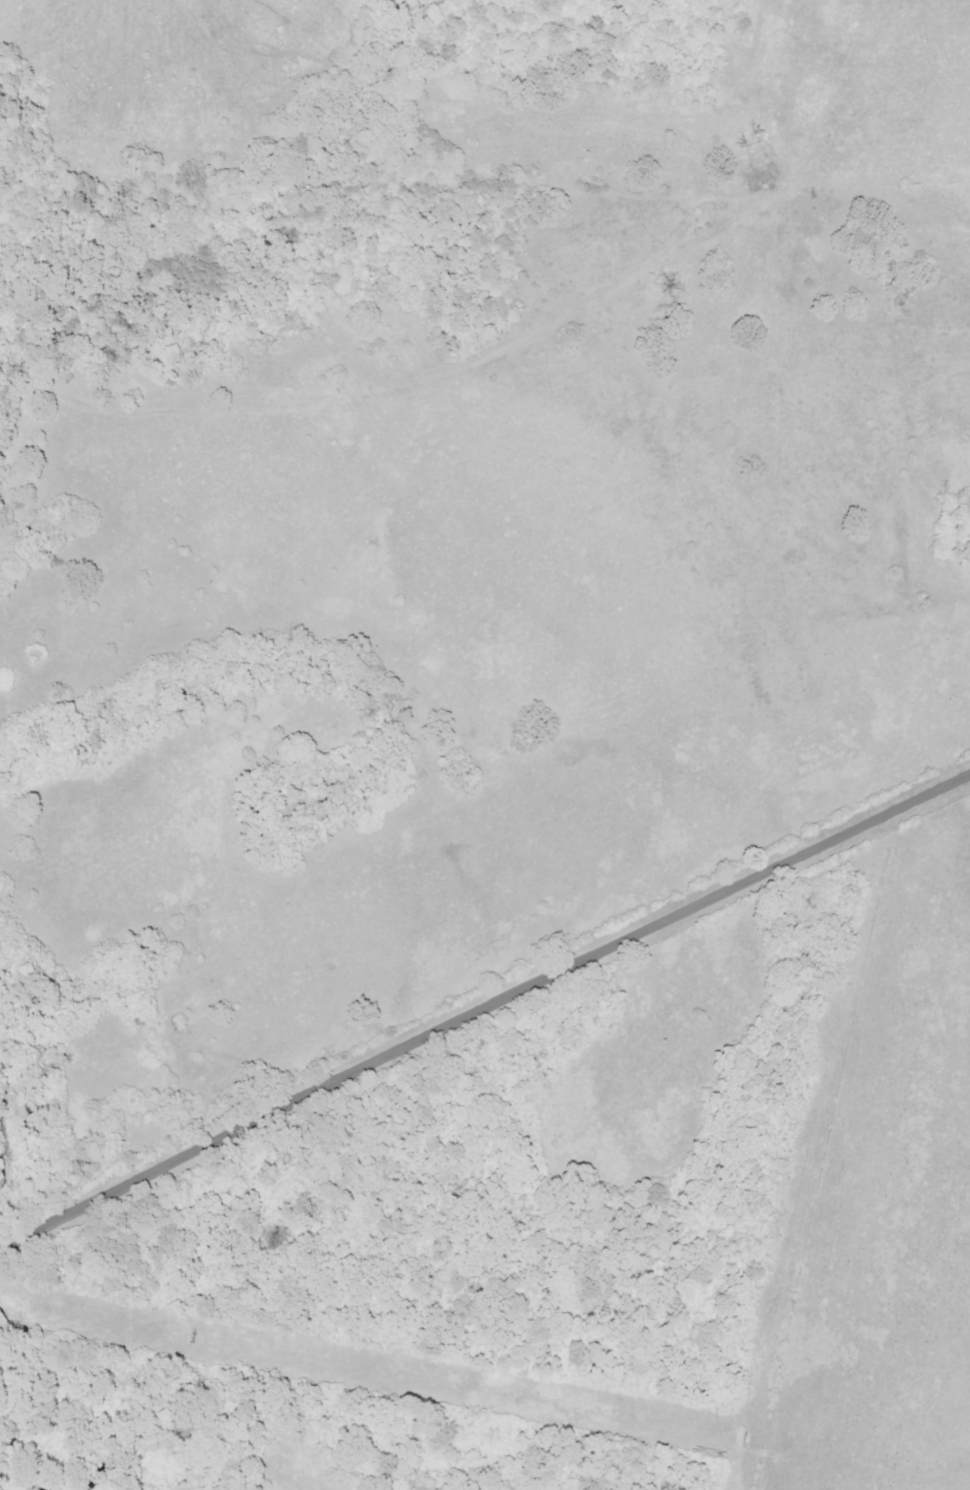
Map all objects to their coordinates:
road: (481, 1024)
power tower: (190, 1337)
power tower: (730, 1433)

